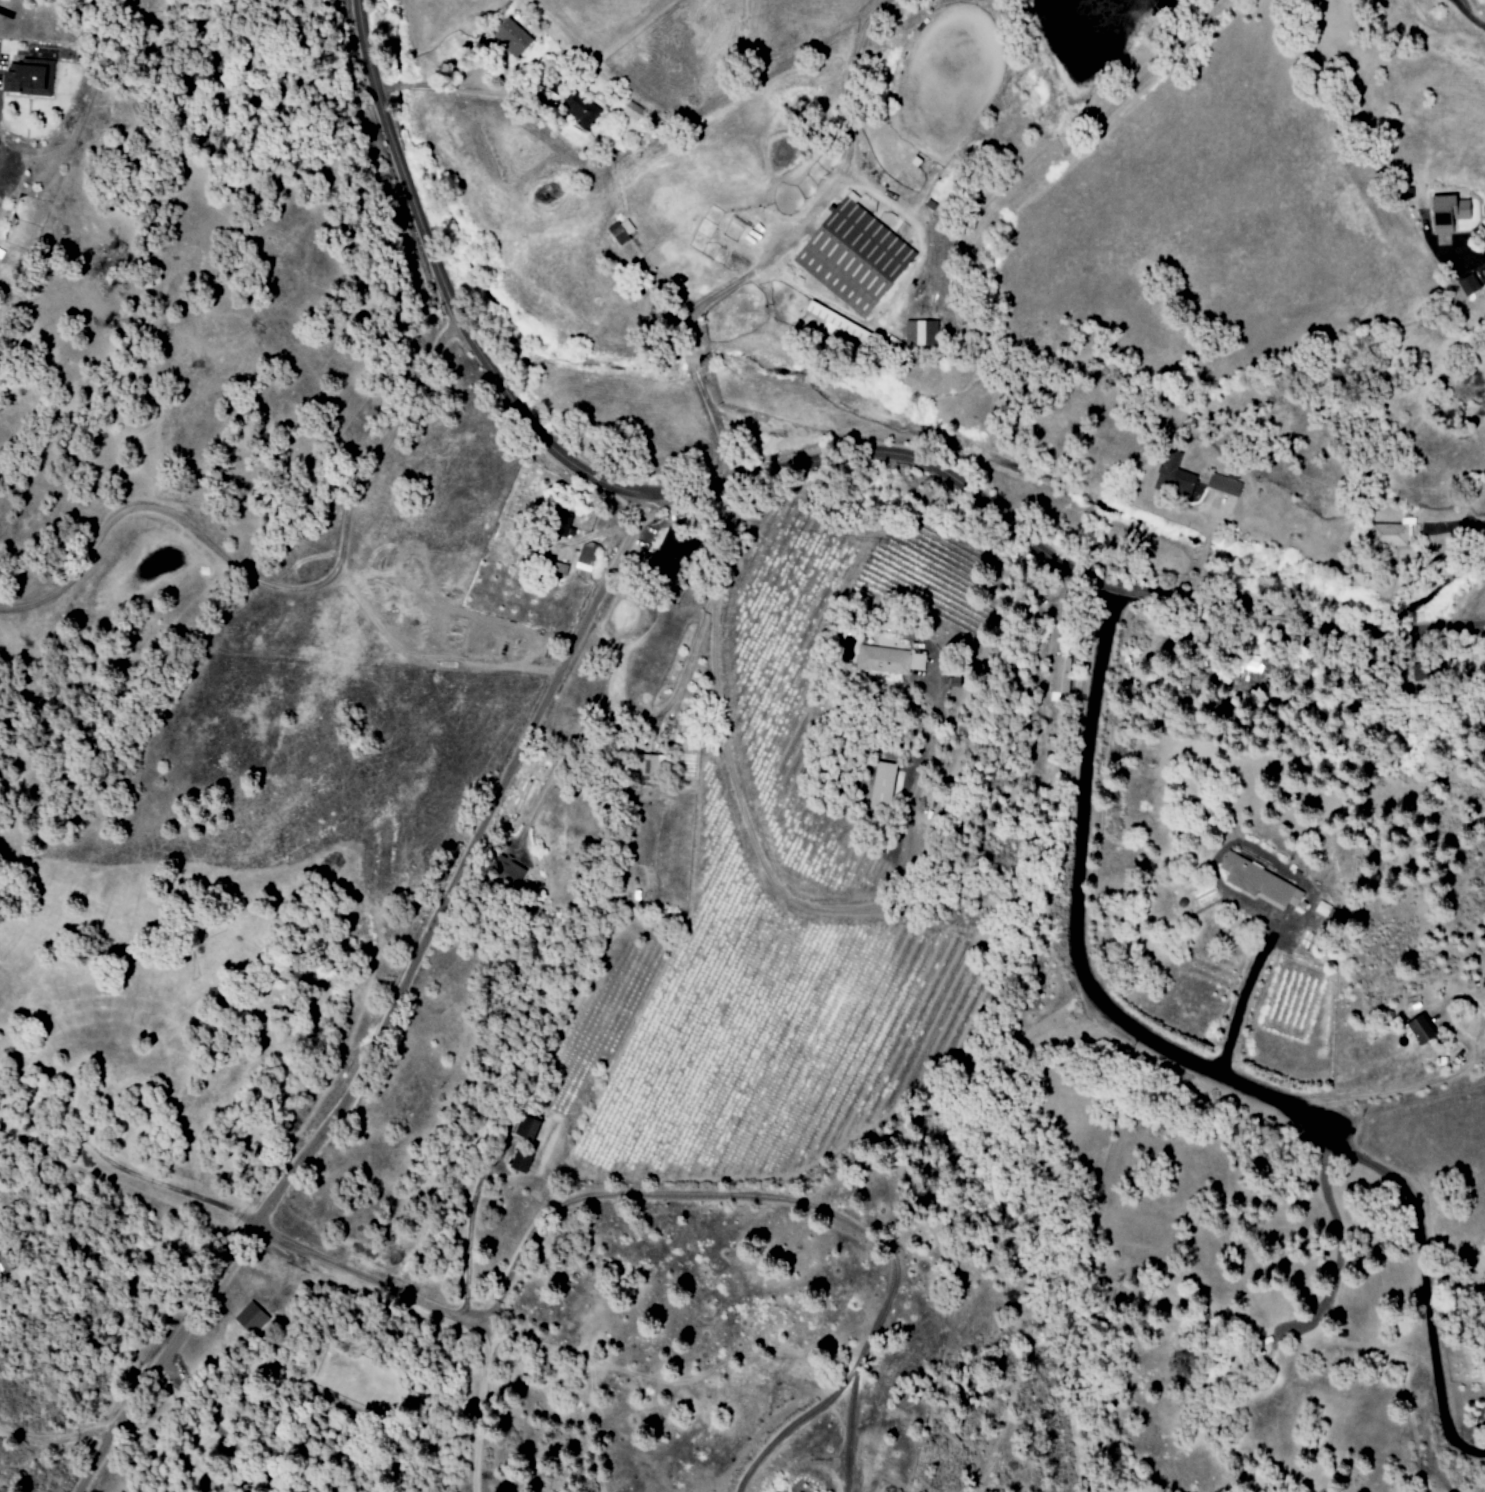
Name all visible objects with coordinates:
building: (510, 35)
building: (24, 75)
building: (579, 108)
building: (630, 110)
building: (1442, 210)
building: (619, 230)
road: (775, 247)
building: (850, 253)
road: (1482, 257)
building: (1464, 283)
building: (919, 332)
road: (784, 466)
building: (1173, 474)
building: (562, 524)
building: (667, 553)
building: (584, 558)
road: (278, 586)
building: (876, 658)
road: (428, 664)
building: (1060, 676)
road: (622, 719)
building: (651, 763)
building: (873, 785)
road: (763, 860)
building: (506, 872)
building: (1257, 882)
road: (1075, 929)
road: (1242, 995)
road: (382, 1003)
building: (1413, 1029)
road: (1387, 1091)
building: (525, 1128)
building: (519, 1161)
road: (162, 1190)
road: (523, 1256)
road: (897, 1273)
building: (249, 1318)
road: (479, 1405)
road: (790, 1429)
road: (58, 1431)
road: (849, 1434)

